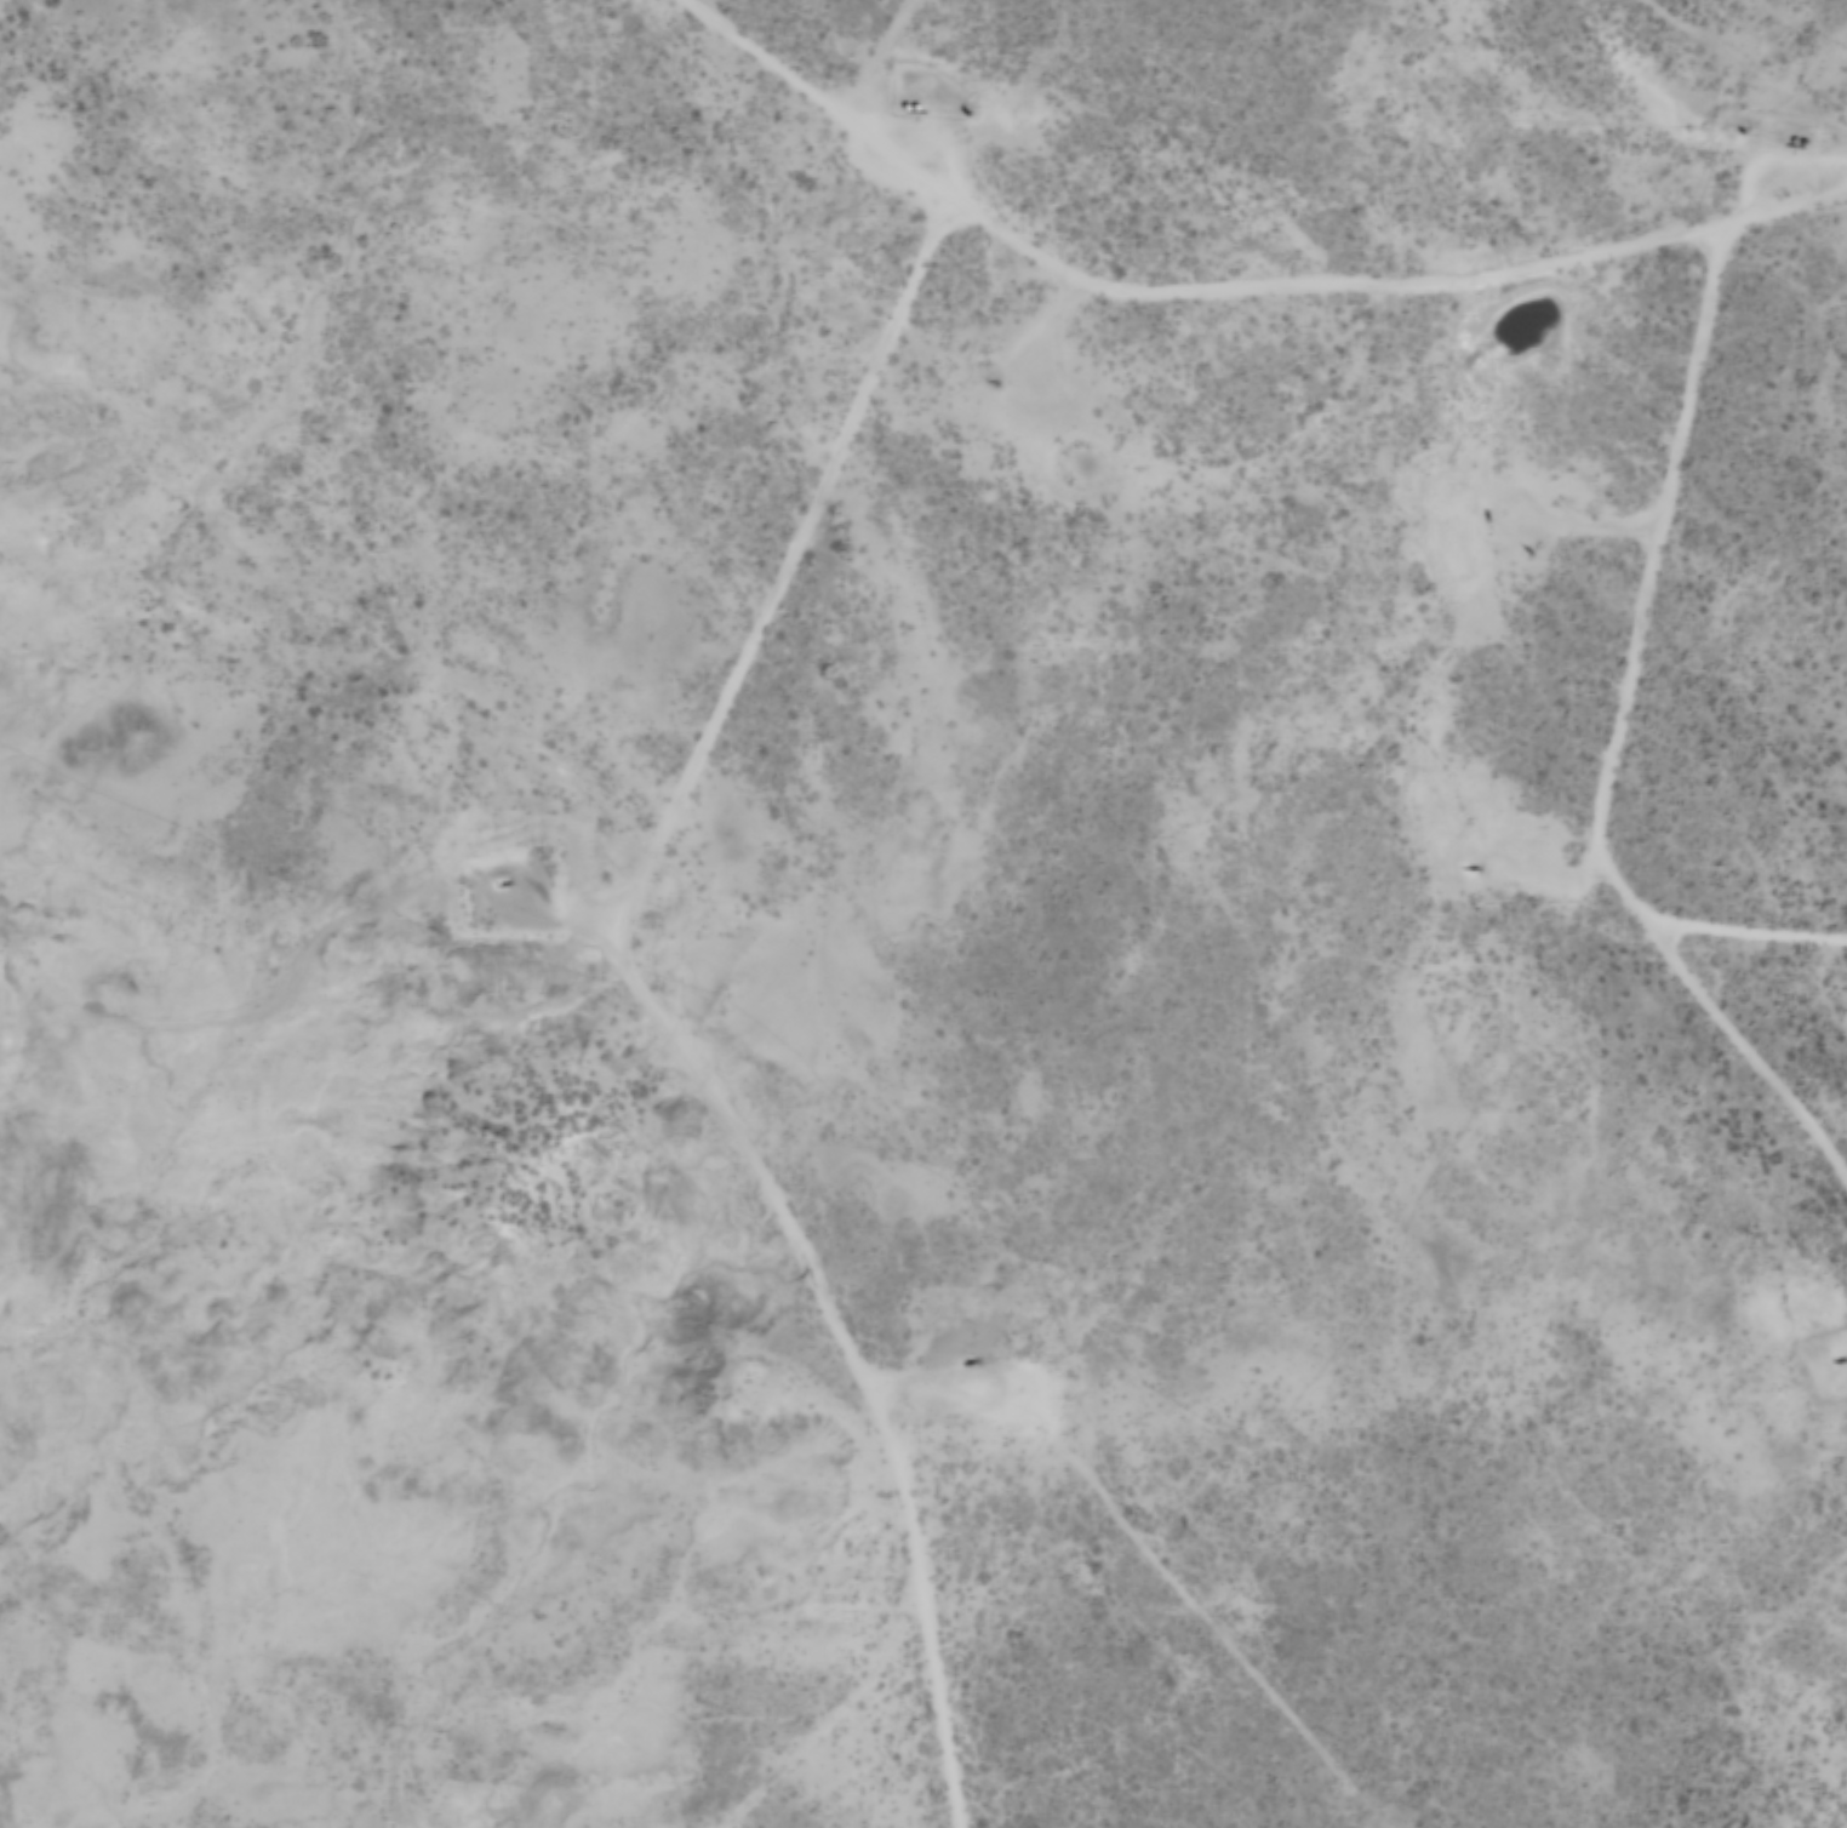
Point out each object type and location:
road: (1206, 310)

